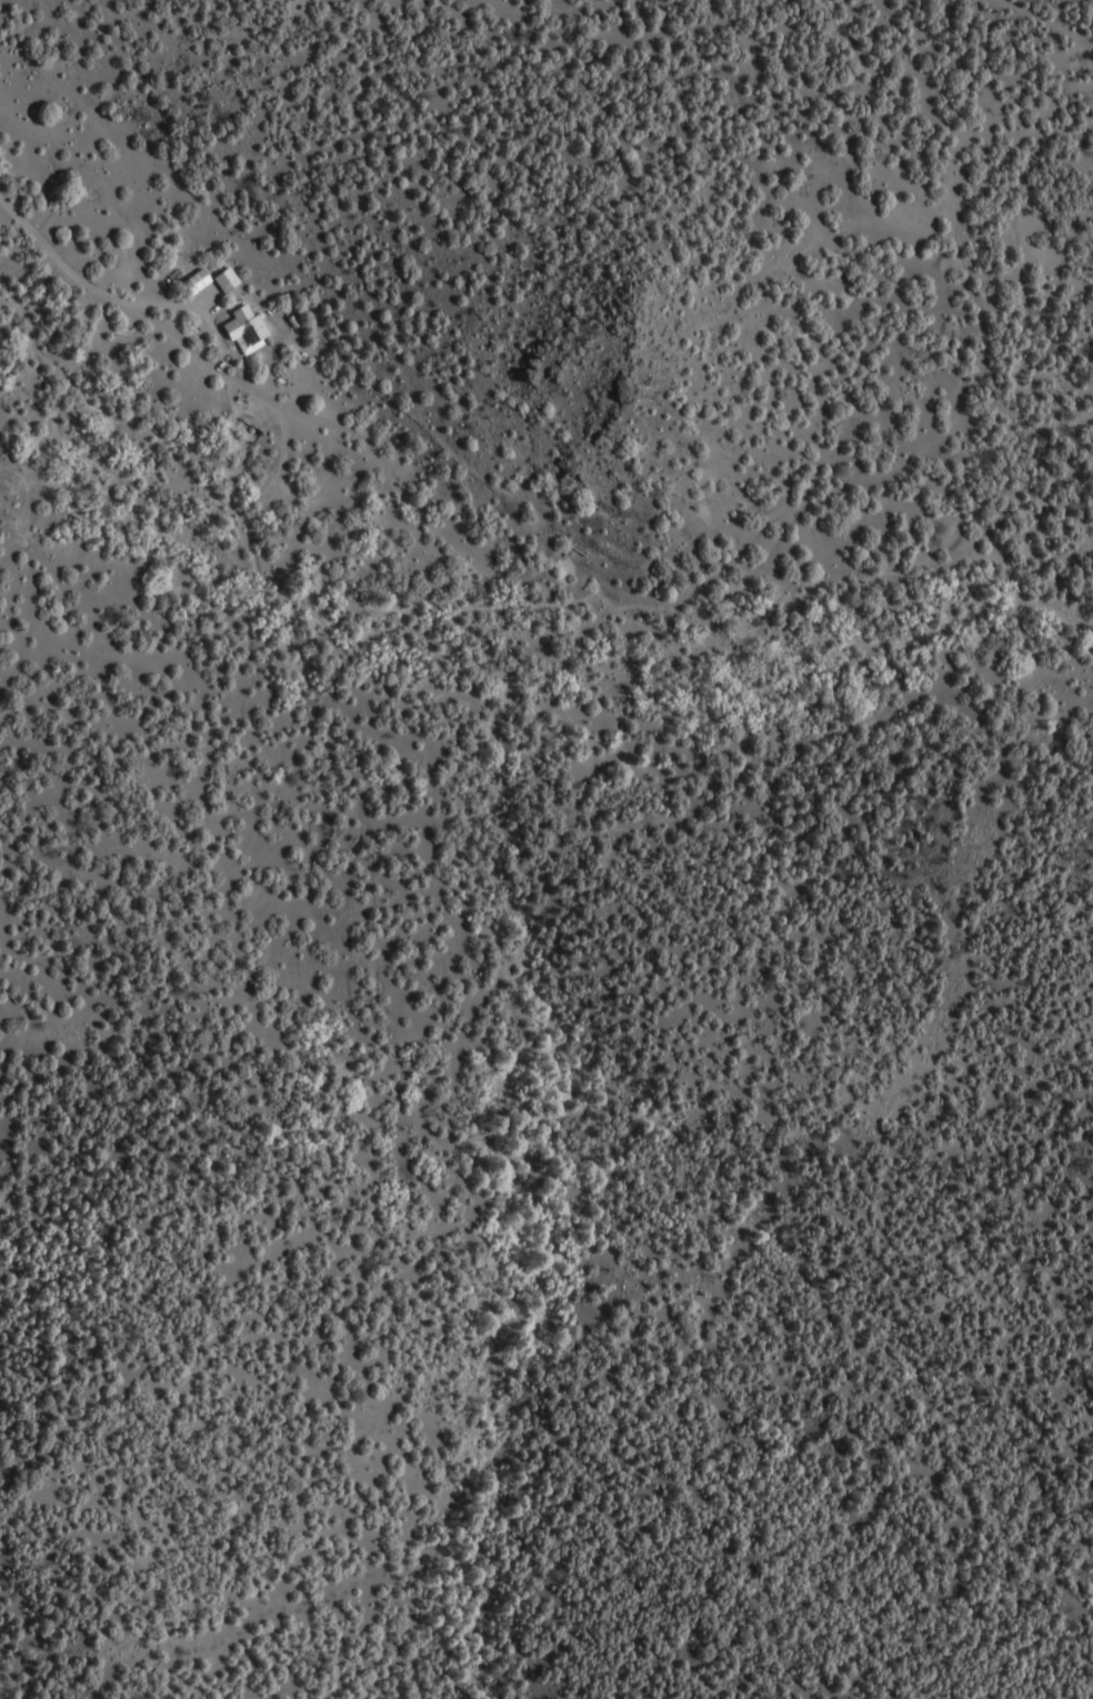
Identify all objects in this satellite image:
building: (233, 280)
building: (202, 283)
building: (252, 330)
road: (492, 550)

